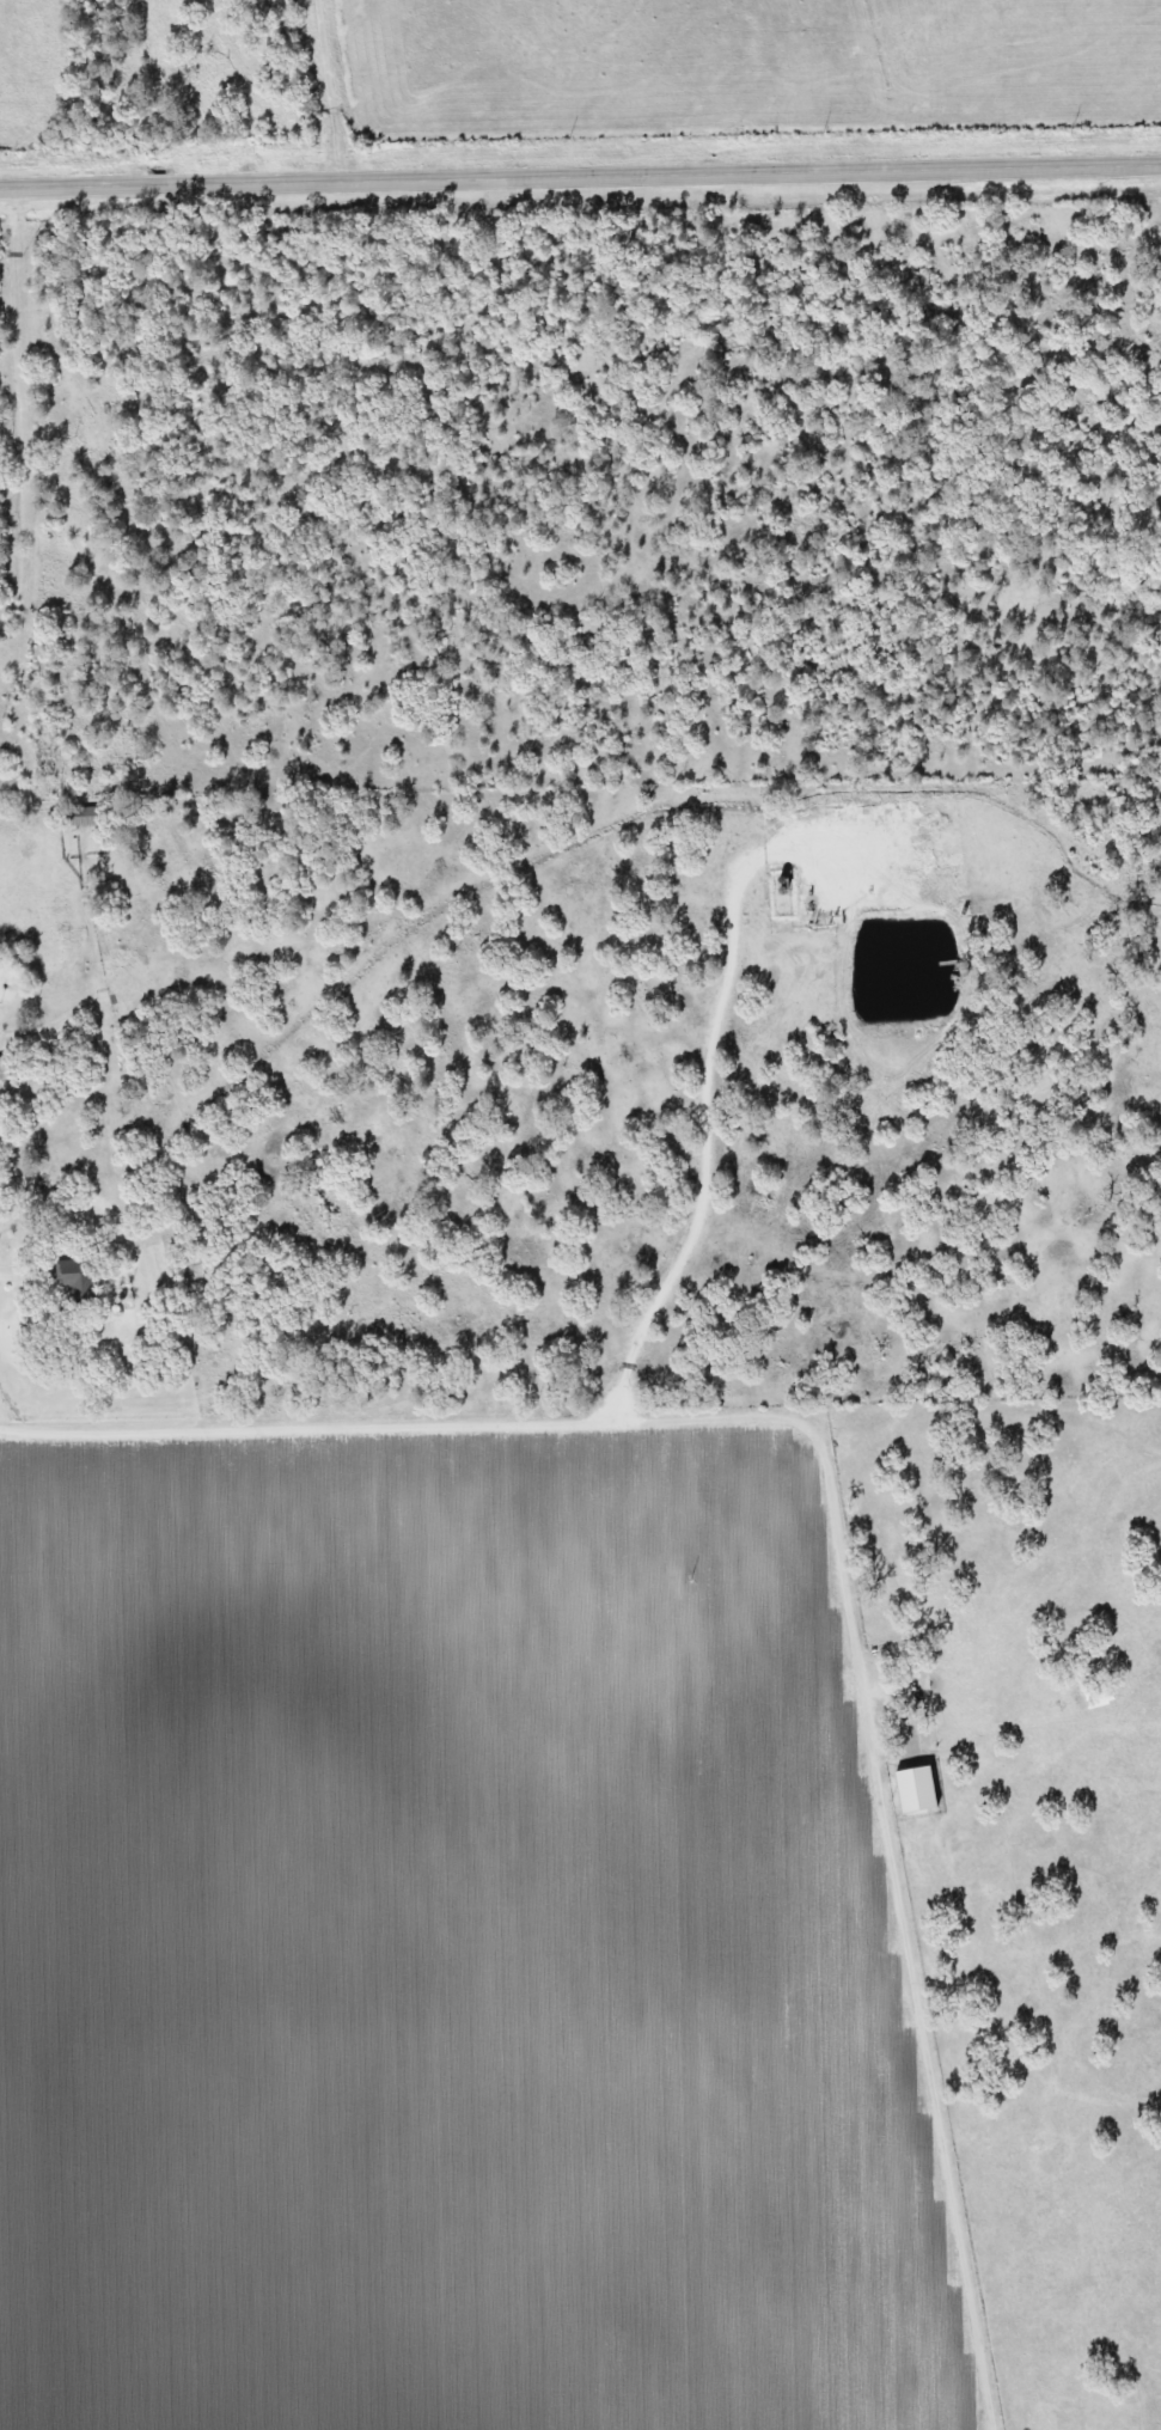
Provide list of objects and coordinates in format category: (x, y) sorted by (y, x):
road: (257, 86)
road: (580, 177)
building: (74, 816)
building: (1, 1069)
building: (71, 1280)
road: (806, 1534)
building: (1064, 2417)

